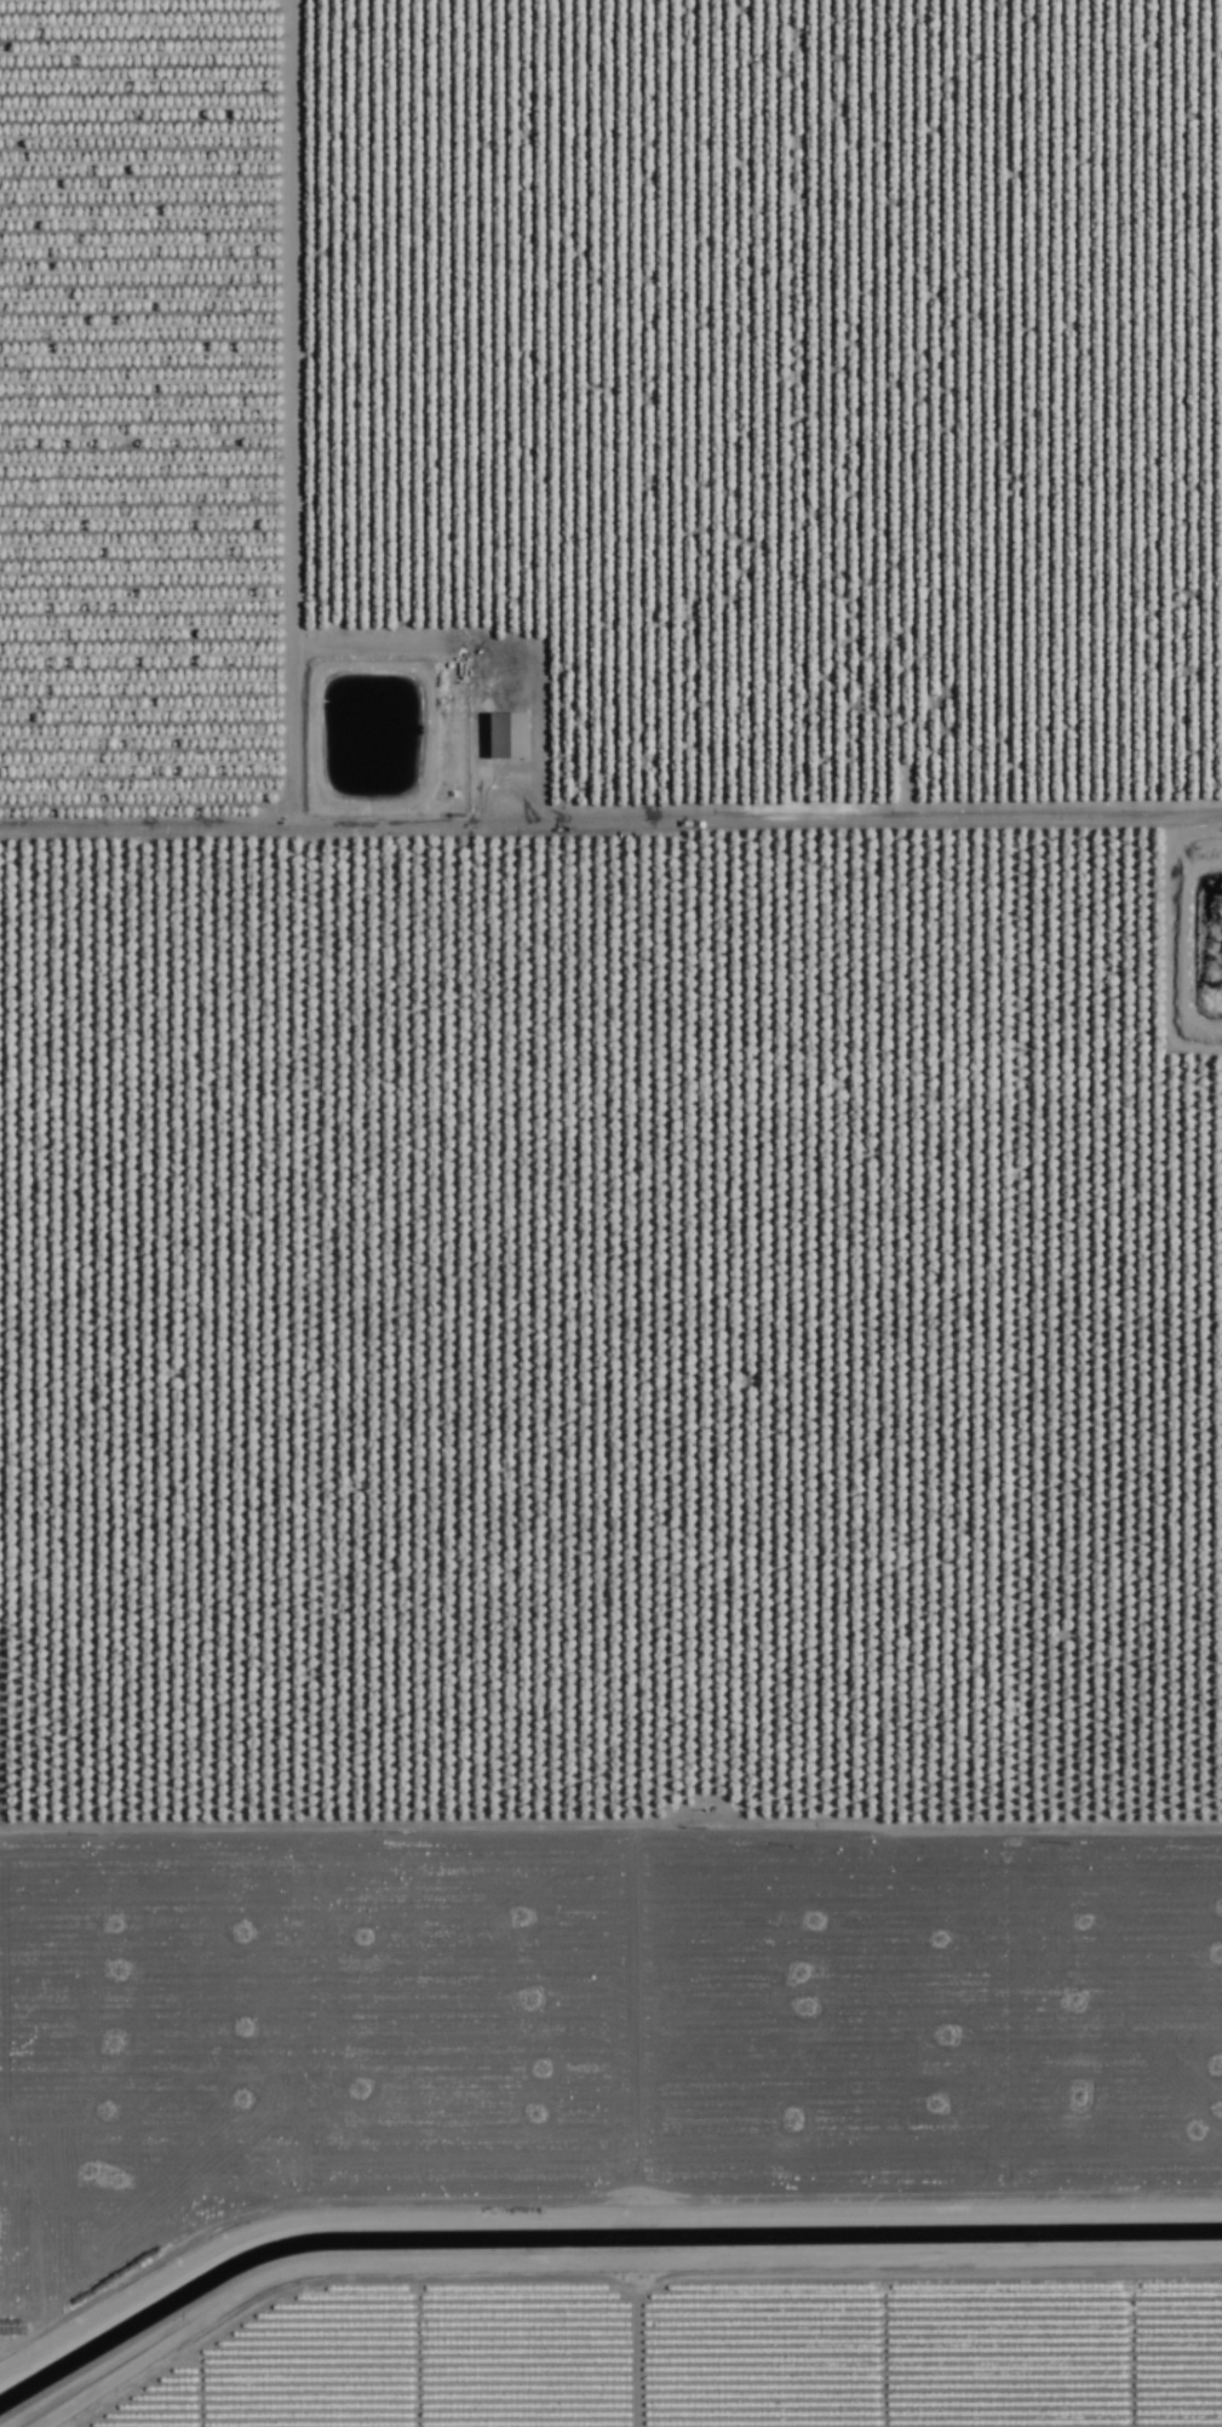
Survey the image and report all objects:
building: (506, 735)
wastewater plant: (365, 737)
road: (610, 823)
wastewater plant: (1206, 944)
crop: (610, 1213)
road: (610, 1324)

